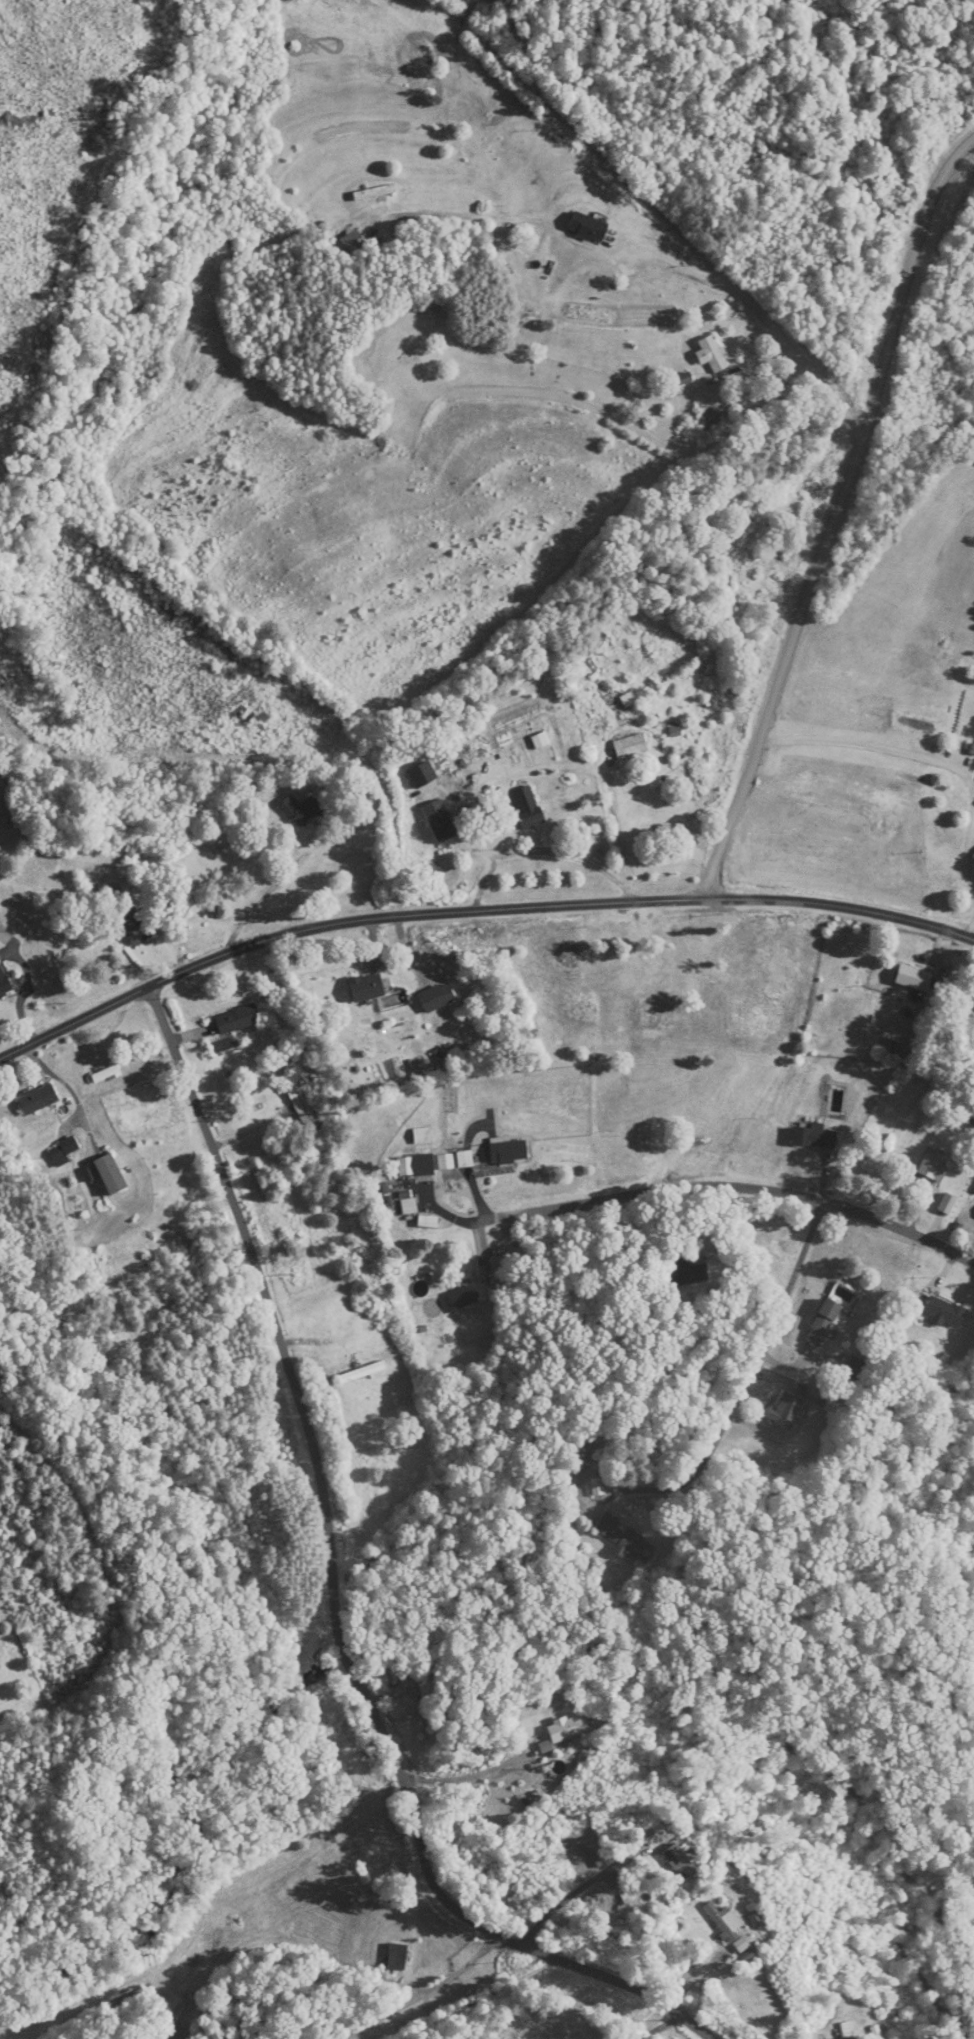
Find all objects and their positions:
building: (374, 193)
building: (352, 242)
road: (712, 276)
building: (713, 354)
road: (831, 386)
road: (848, 481)
building: (741, 572)
building: (631, 746)
road: (878, 747)
building: (422, 775)
building: (528, 807)
building: (299, 809)
building: (439, 821)
road: (969, 844)
road: (718, 862)
road: (475, 908)
building: (134, 928)
road: (970, 928)
building: (914, 978)
building: (4, 983)
road: (24, 984)
building: (366, 987)
building: (436, 997)
building: (237, 1019)
building: (105, 1074)
road: (69, 1088)
building: (37, 1099)
building: (302, 1101)
building: (971, 1118)
building: (421, 1136)
building: (814, 1137)
building: (64, 1149)
building: (508, 1152)
building: (415, 1166)
building: (932, 1166)
building: (110, 1174)
road: (731, 1186)
building: (947, 1204)
building: (408, 1206)
building: (687, 1273)
building: (462, 1297)
building: (945, 1311)
road: (273, 1314)
building: (823, 1322)
road: (751, 1369)
building: (362, 1373)
building: (581, 1453)
building: (625, 1539)
building: (428, 1686)
building: (562, 1730)
road: (466, 1775)
building: (679, 1862)
road: (563, 1899)
road: (418, 1903)
road: (464, 1911)
building: (729, 1929)
building: (397, 1957)
road: (420, 1992)
road: (659, 2027)
building: (847, 2030)

